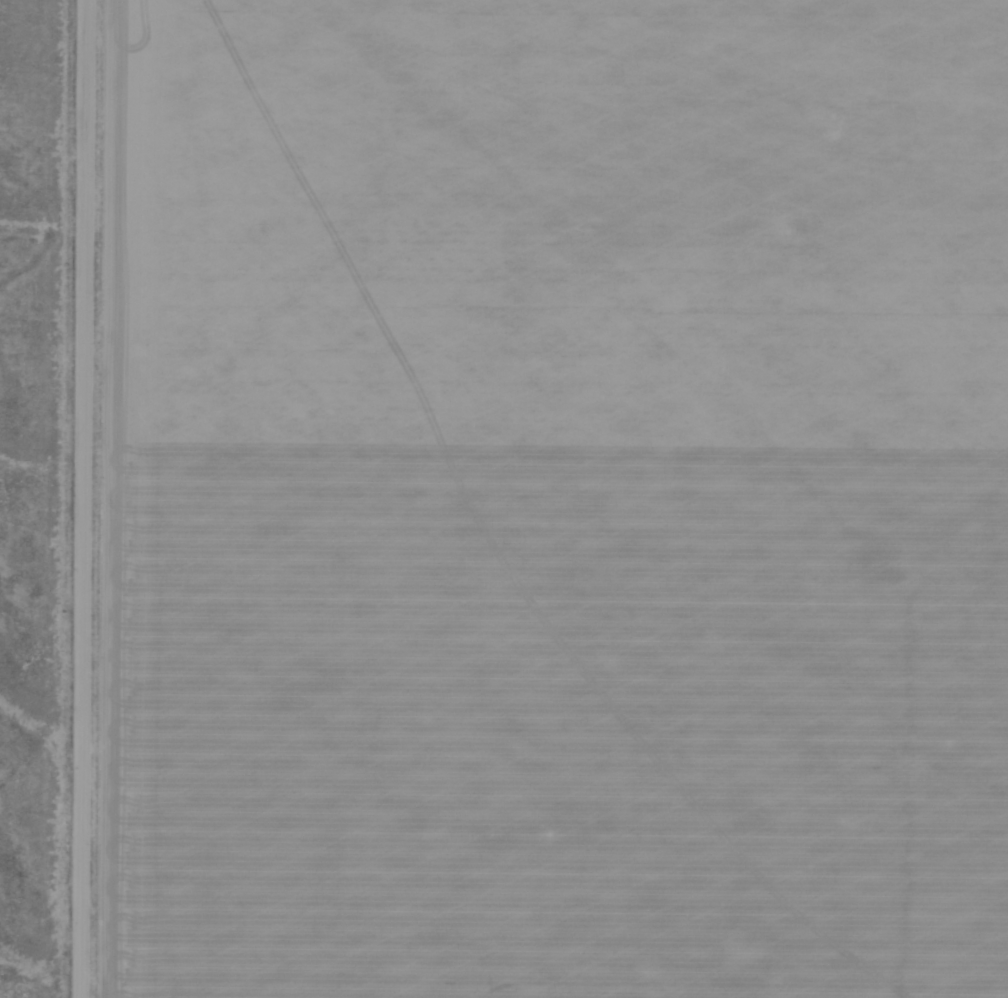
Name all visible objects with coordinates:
road: (126, 499)

